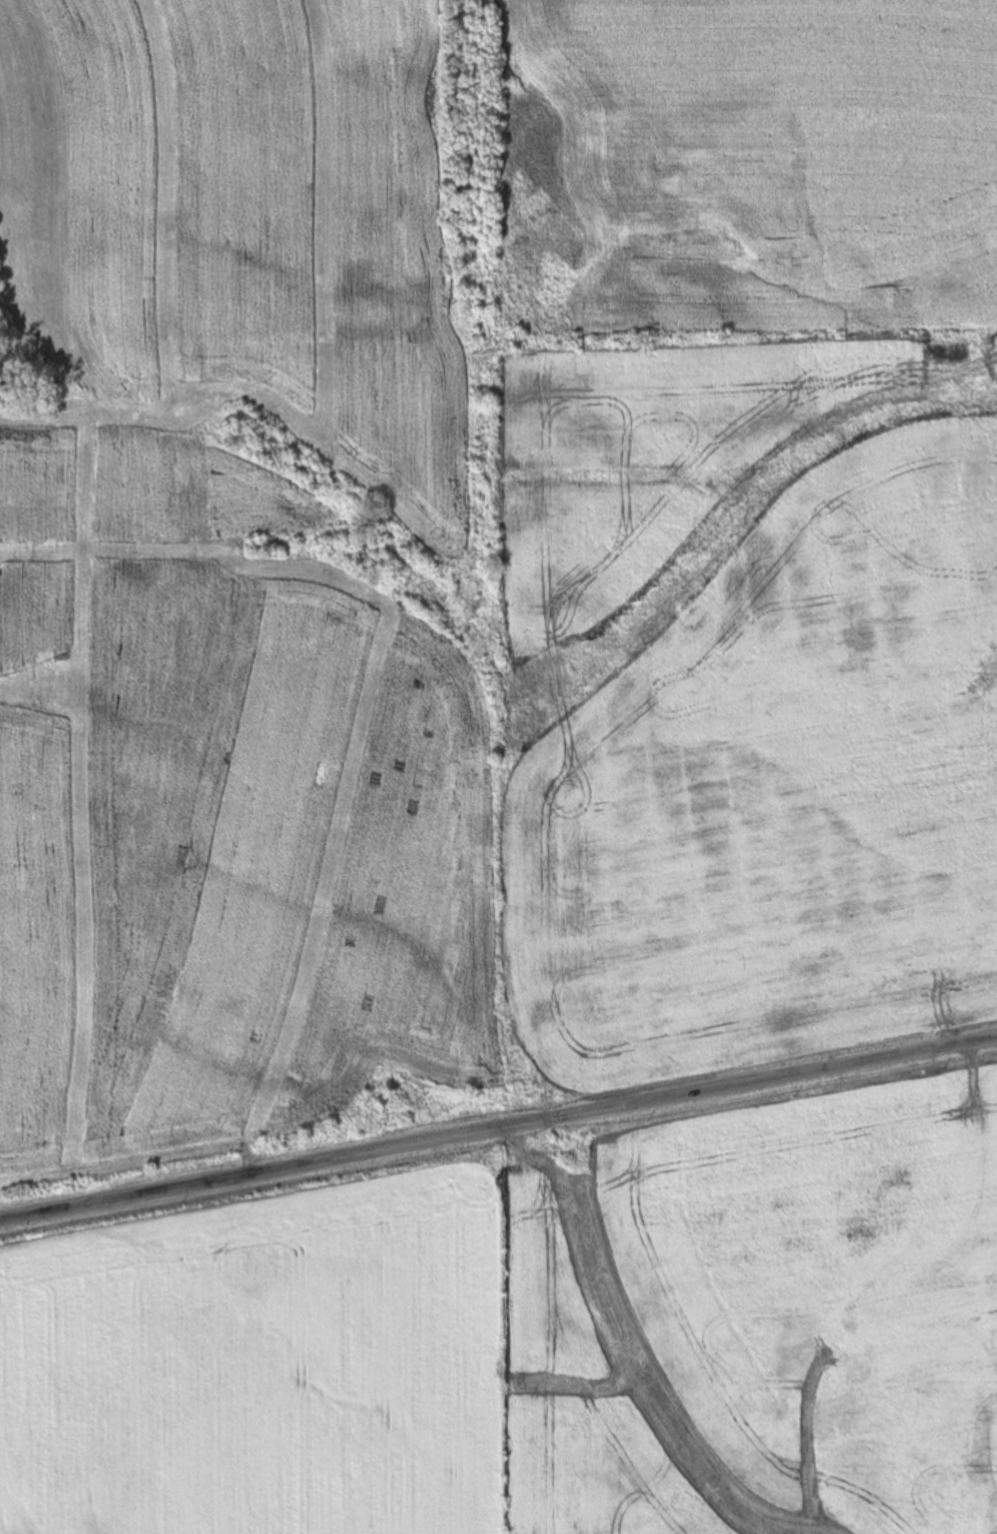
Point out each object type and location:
road: (498, 1131)

